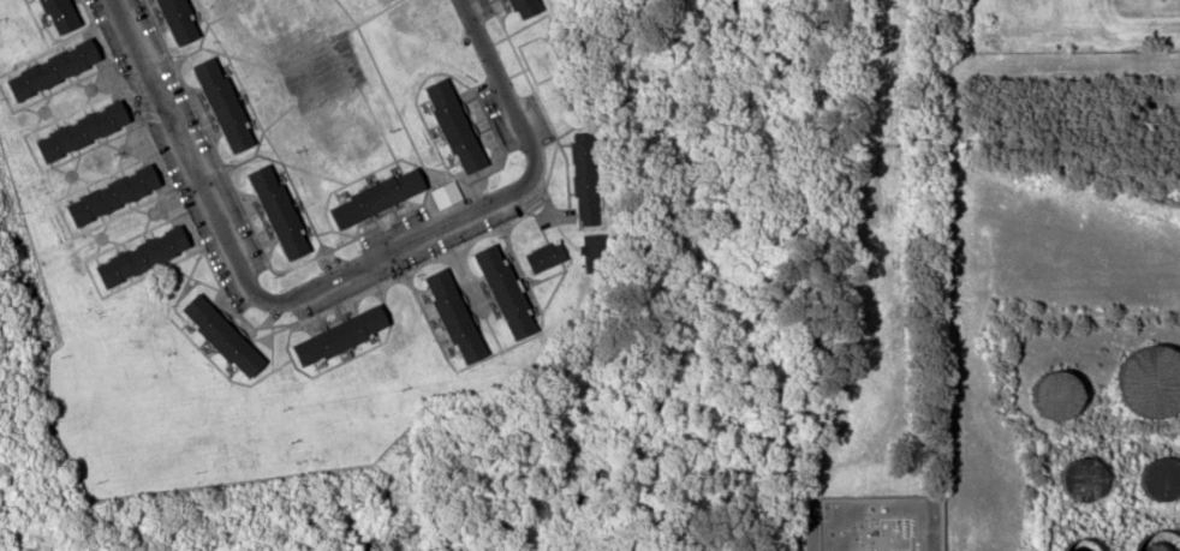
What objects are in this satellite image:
building: (530, 10)
building: (186, 22)
building: (65, 55)
road: (505, 83)
building: (232, 106)
building: (463, 127)
building: (90, 132)
road: (187, 151)
building: (589, 179)
building: (120, 196)
building: (447, 198)
building: (385, 199)
building: (287, 211)
road: (405, 241)
building: (597, 252)
building: (550, 254)
building: (149, 256)
building: (513, 291)
building: (463, 316)
building: (231, 335)
building: (350, 335)

